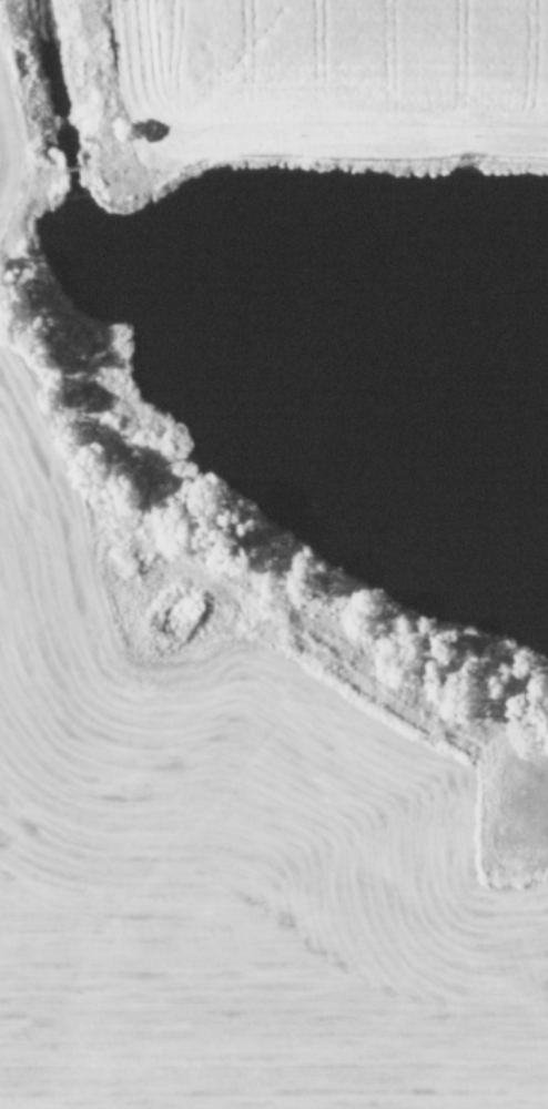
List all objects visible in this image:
crop: (344, 63)
crop: (239, 892)

